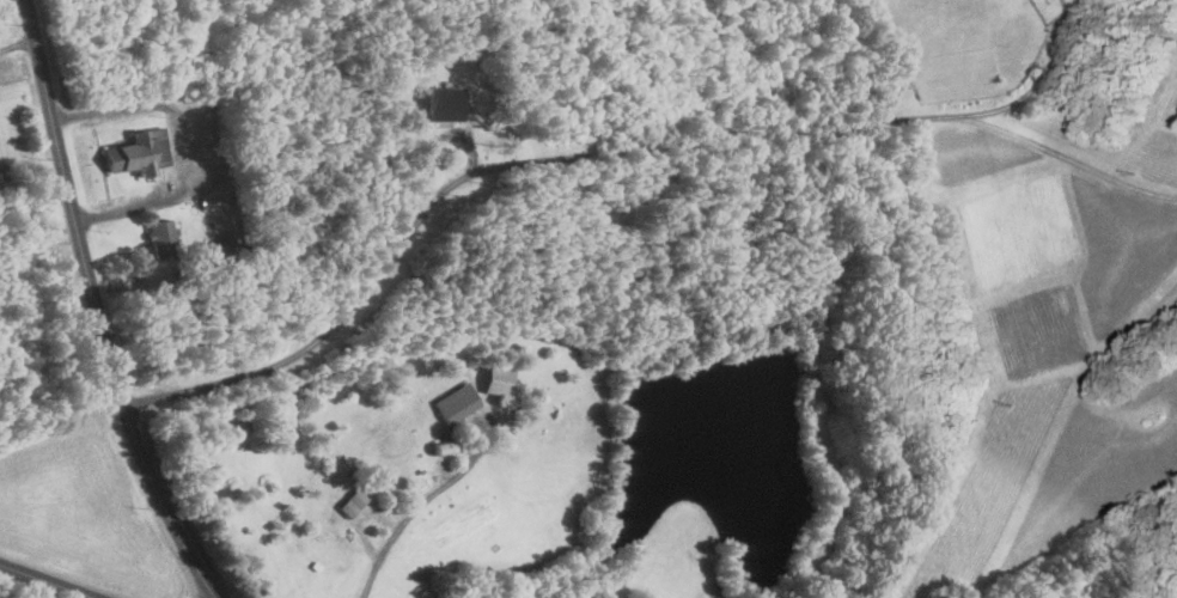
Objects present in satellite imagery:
road: (16, 41)
building: (437, 103)
road: (184, 138)
building: (133, 152)
road: (587, 153)
building: (155, 233)
road: (94, 306)
building: (490, 380)
building: (450, 403)
building: (347, 501)
road: (408, 513)
road: (47, 581)

